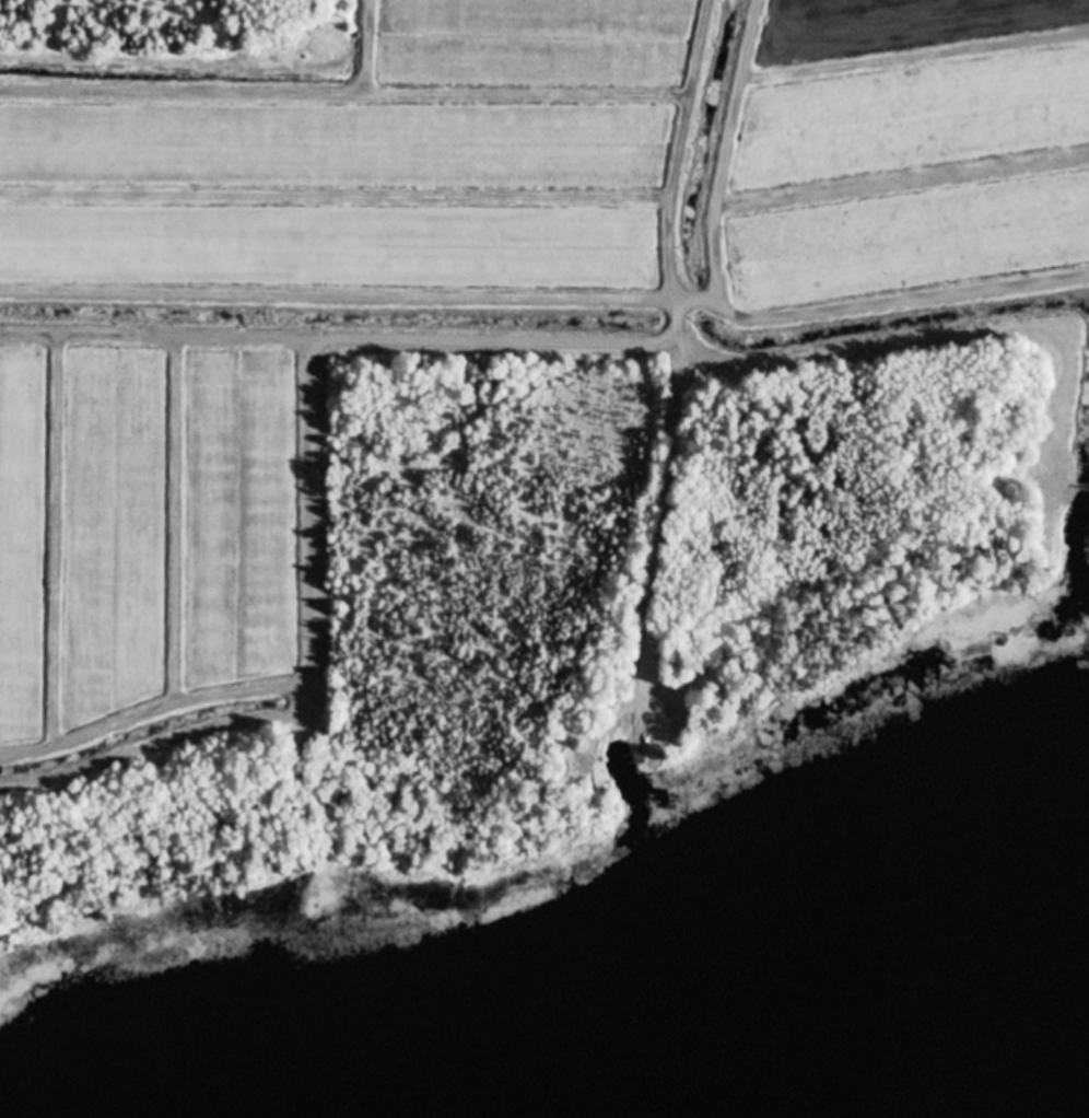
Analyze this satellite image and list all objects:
crop: (909, 149)
crop: (373, 163)
crop: (141, 528)
building: (637, 756)

